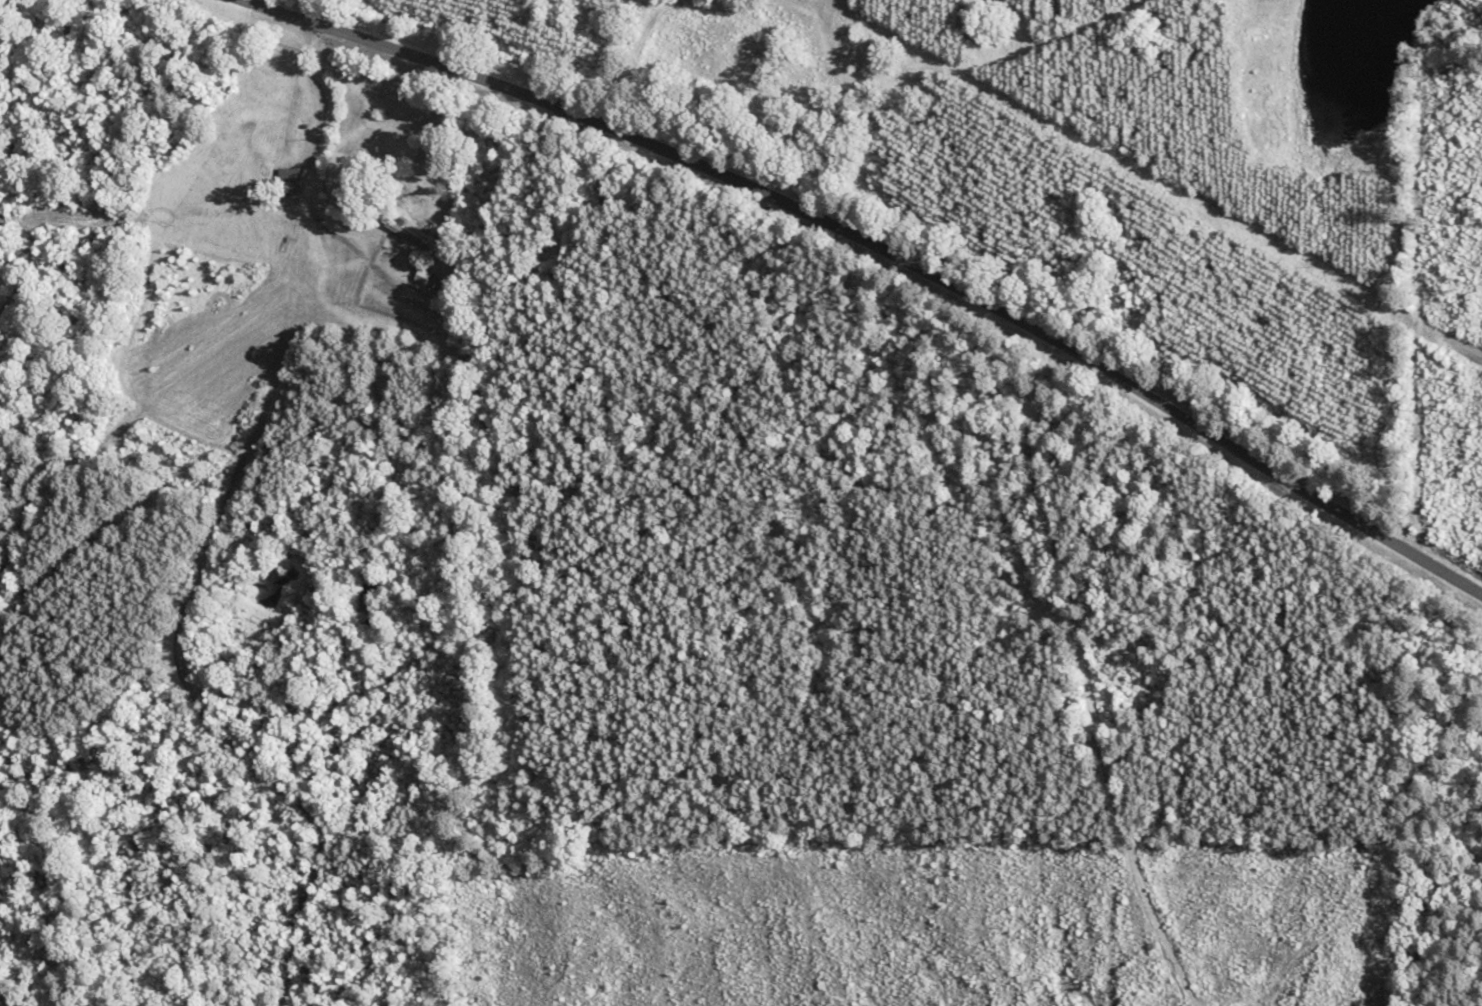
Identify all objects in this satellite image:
building: (407, 236)
road: (886, 251)
building: (425, 276)
road: (1074, 679)

